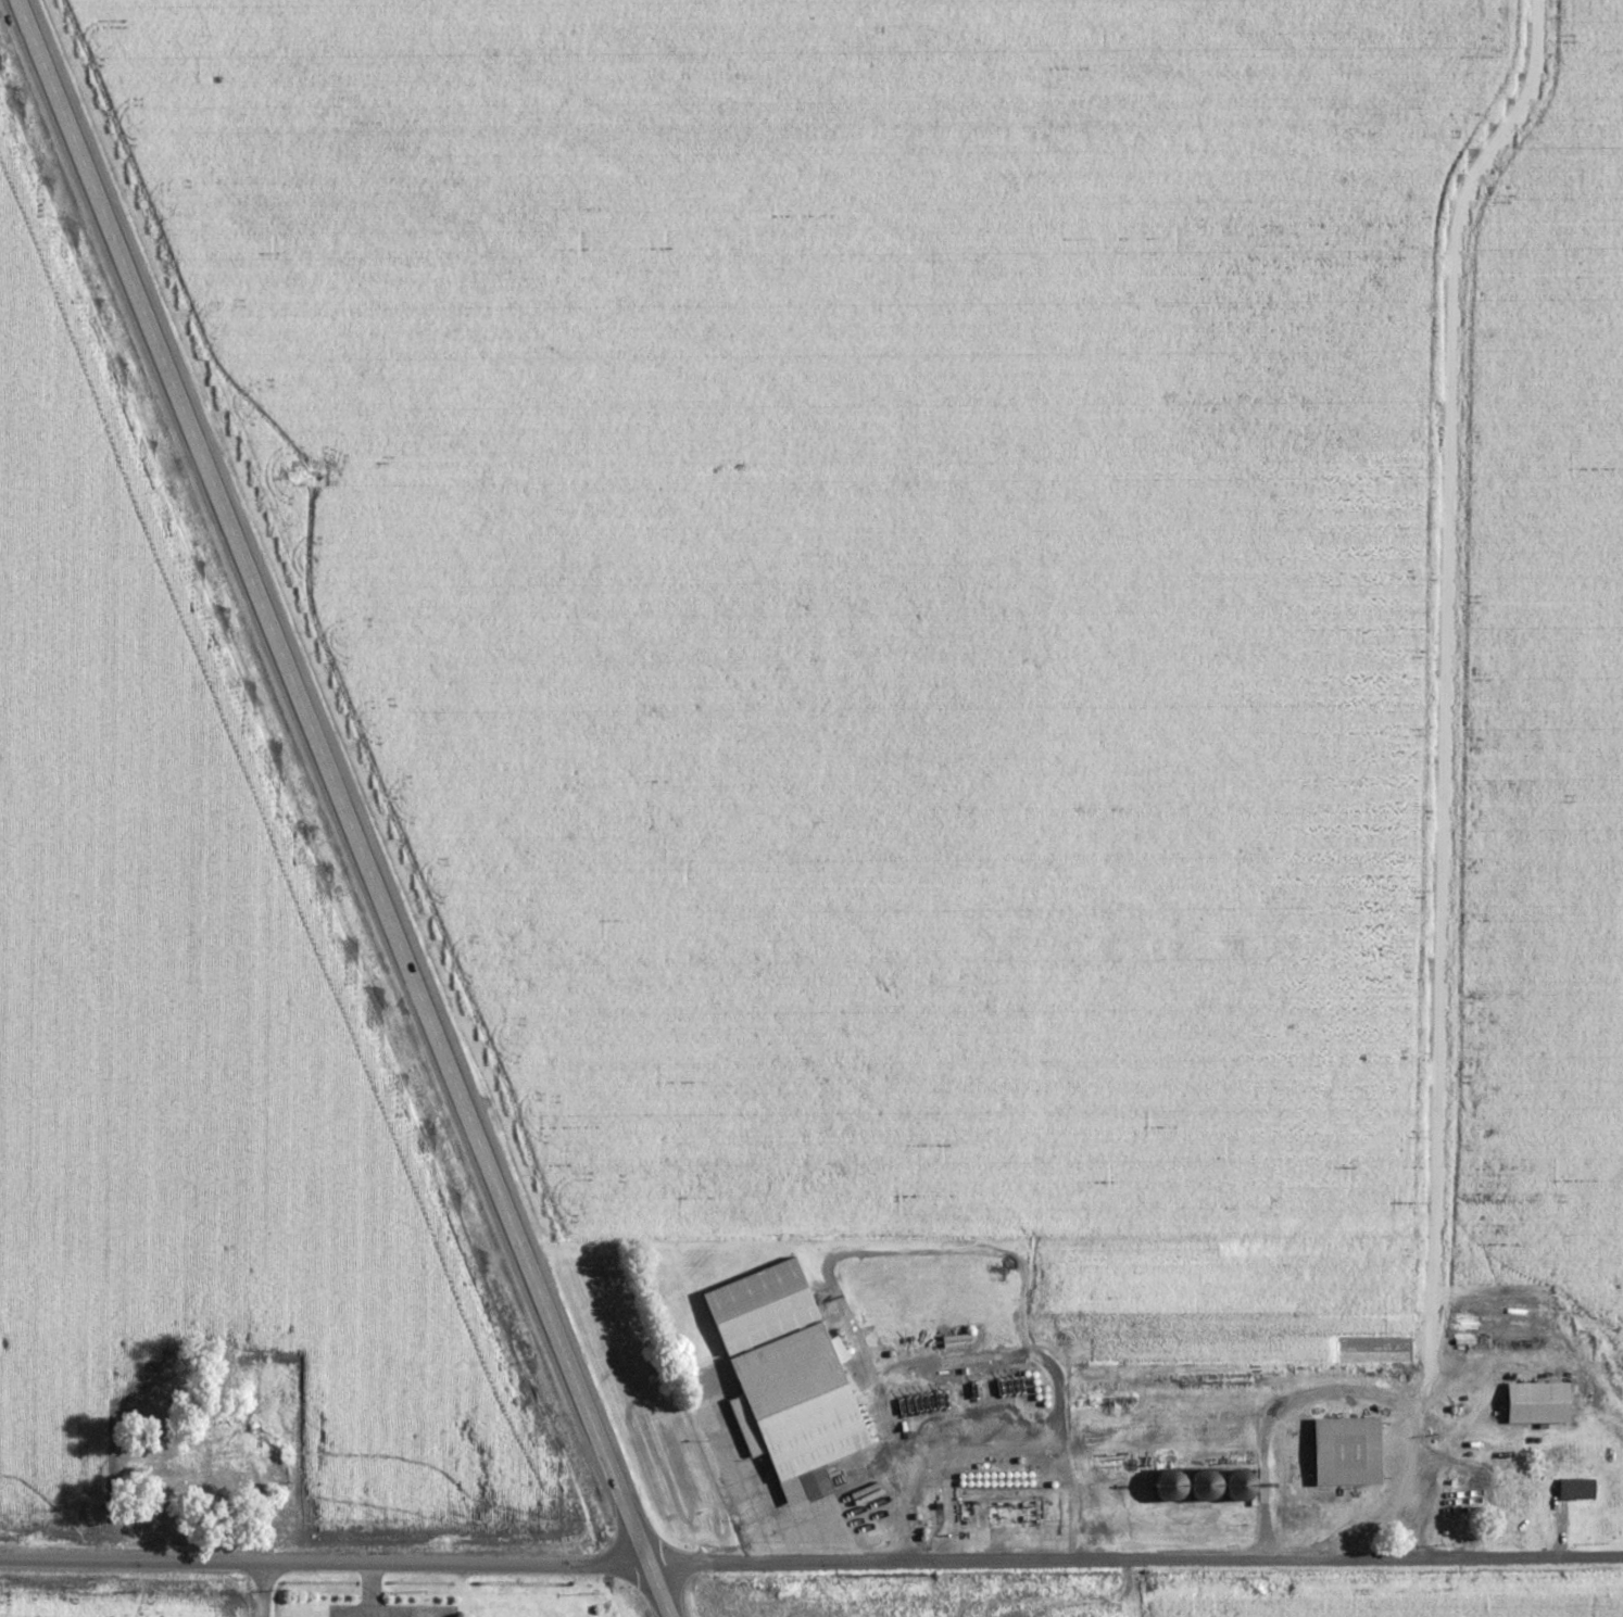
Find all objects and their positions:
road: (1045, 782)
road: (343, 808)
building: (789, 1378)
building: (1540, 1402)
building: (1349, 1451)
building: (1485, 1477)
building: (1210, 1480)
building: (1578, 1489)
building: (1004, 1513)
road: (810, 1561)
road: (261, 1590)

